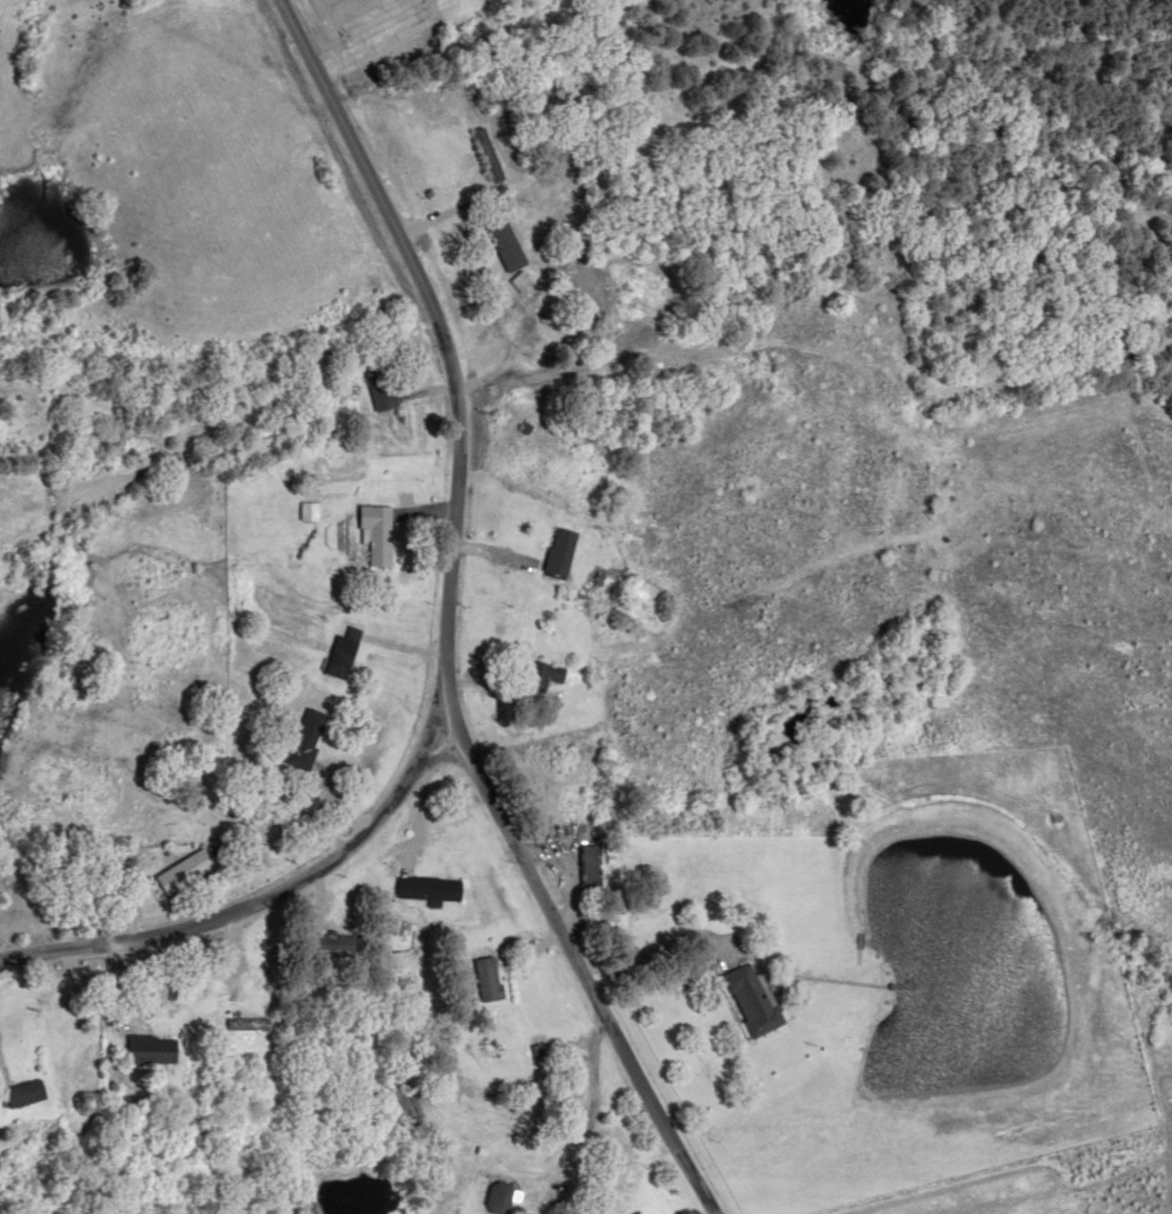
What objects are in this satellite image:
road: (12, 2)
building: (487, 155)
building: (510, 268)
building: (383, 390)
building: (379, 534)
building: (562, 552)
road: (449, 609)
building: (550, 670)
building: (311, 736)
building: (592, 864)
building: (187, 870)
building: (431, 887)
building: (491, 977)
road: (592, 980)
building: (756, 999)
building: (250, 1022)
building: (155, 1049)
building: (29, 1092)
building: (500, 1197)
building: (640, 1213)

